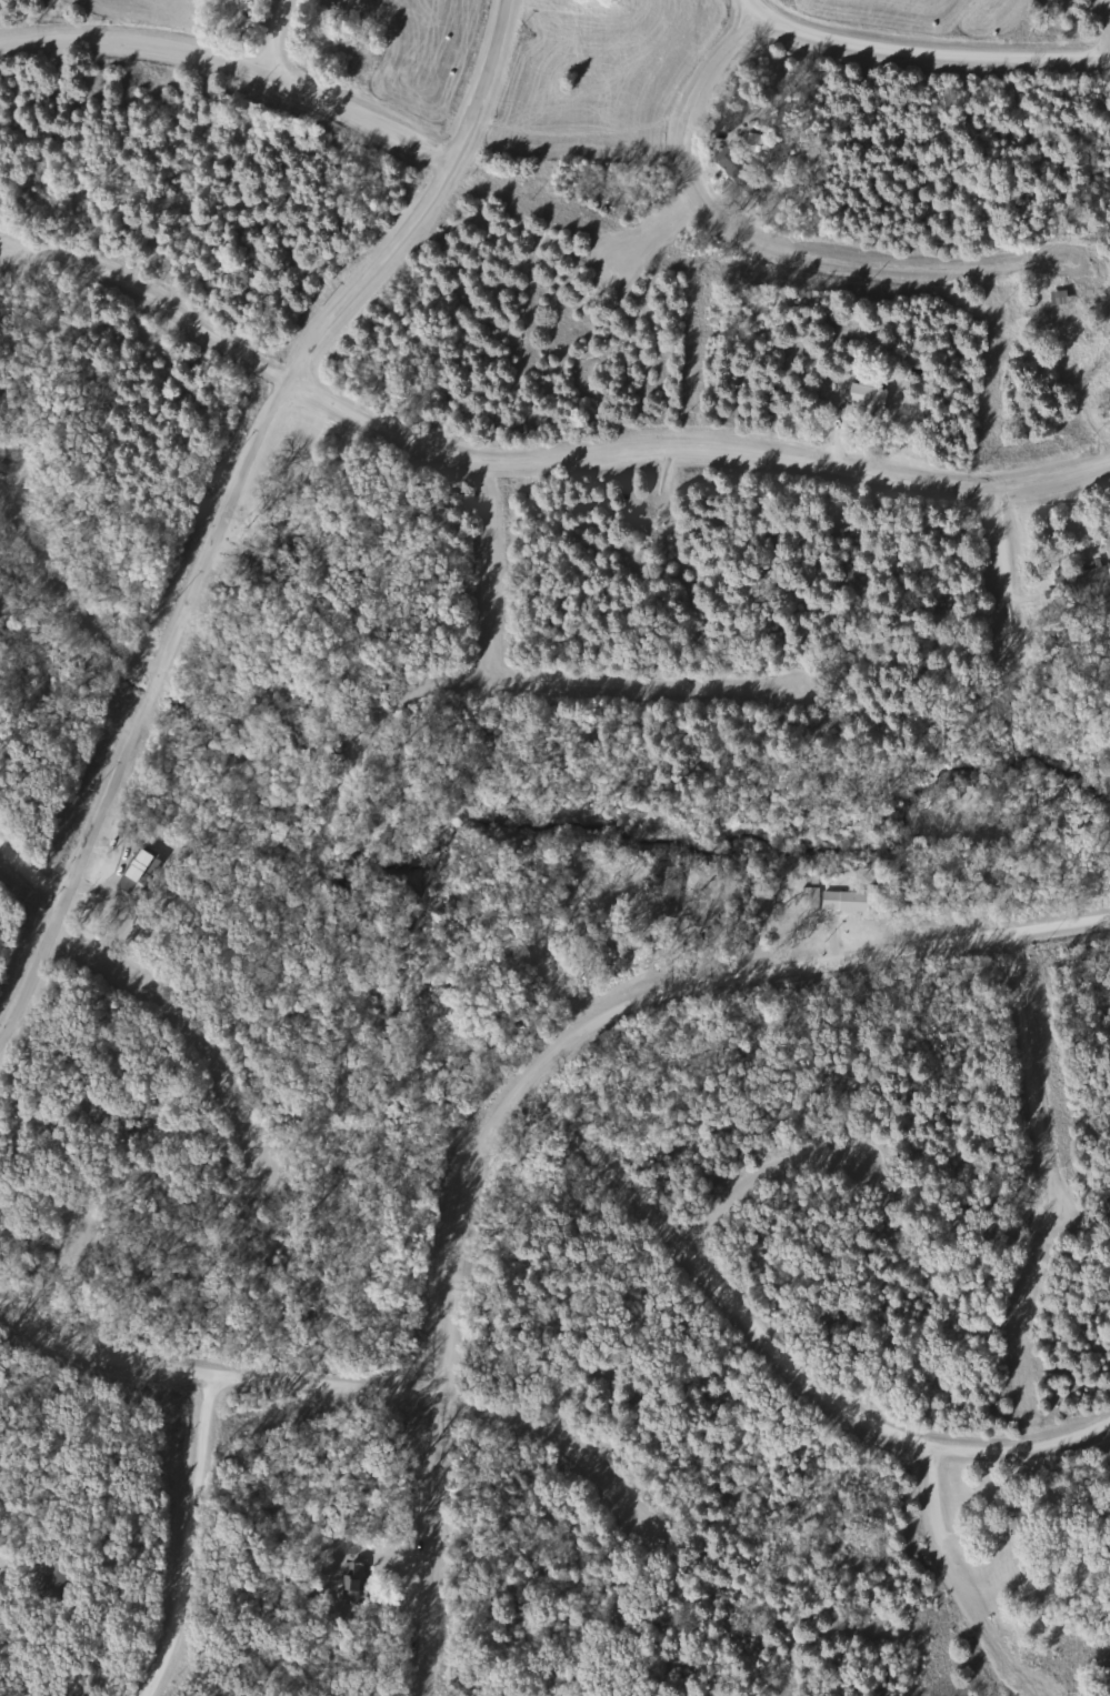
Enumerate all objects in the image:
road: (276, 37)
road: (923, 46)
road: (233, 61)
building: (750, 144)
road: (751, 238)
road: (672, 257)
road: (1051, 259)
building: (1046, 308)
building: (864, 397)
road: (532, 461)
road: (230, 505)
road: (1007, 568)
building: (1078, 574)
road: (76, 598)
road: (536, 679)
road: (388, 736)
road: (34, 865)
building: (670, 889)
building: (837, 901)
road: (562, 991)
road: (200, 1022)
road: (1034, 1071)
road: (523, 1086)
road: (759, 1178)
road: (57, 1267)
road: (773, 1352)
road: (212, 1367)
road: (557, 1437)
building: (1010, 1517)
road: (938, 1521)
road: (194, 1535)
building: (54, 1582)

